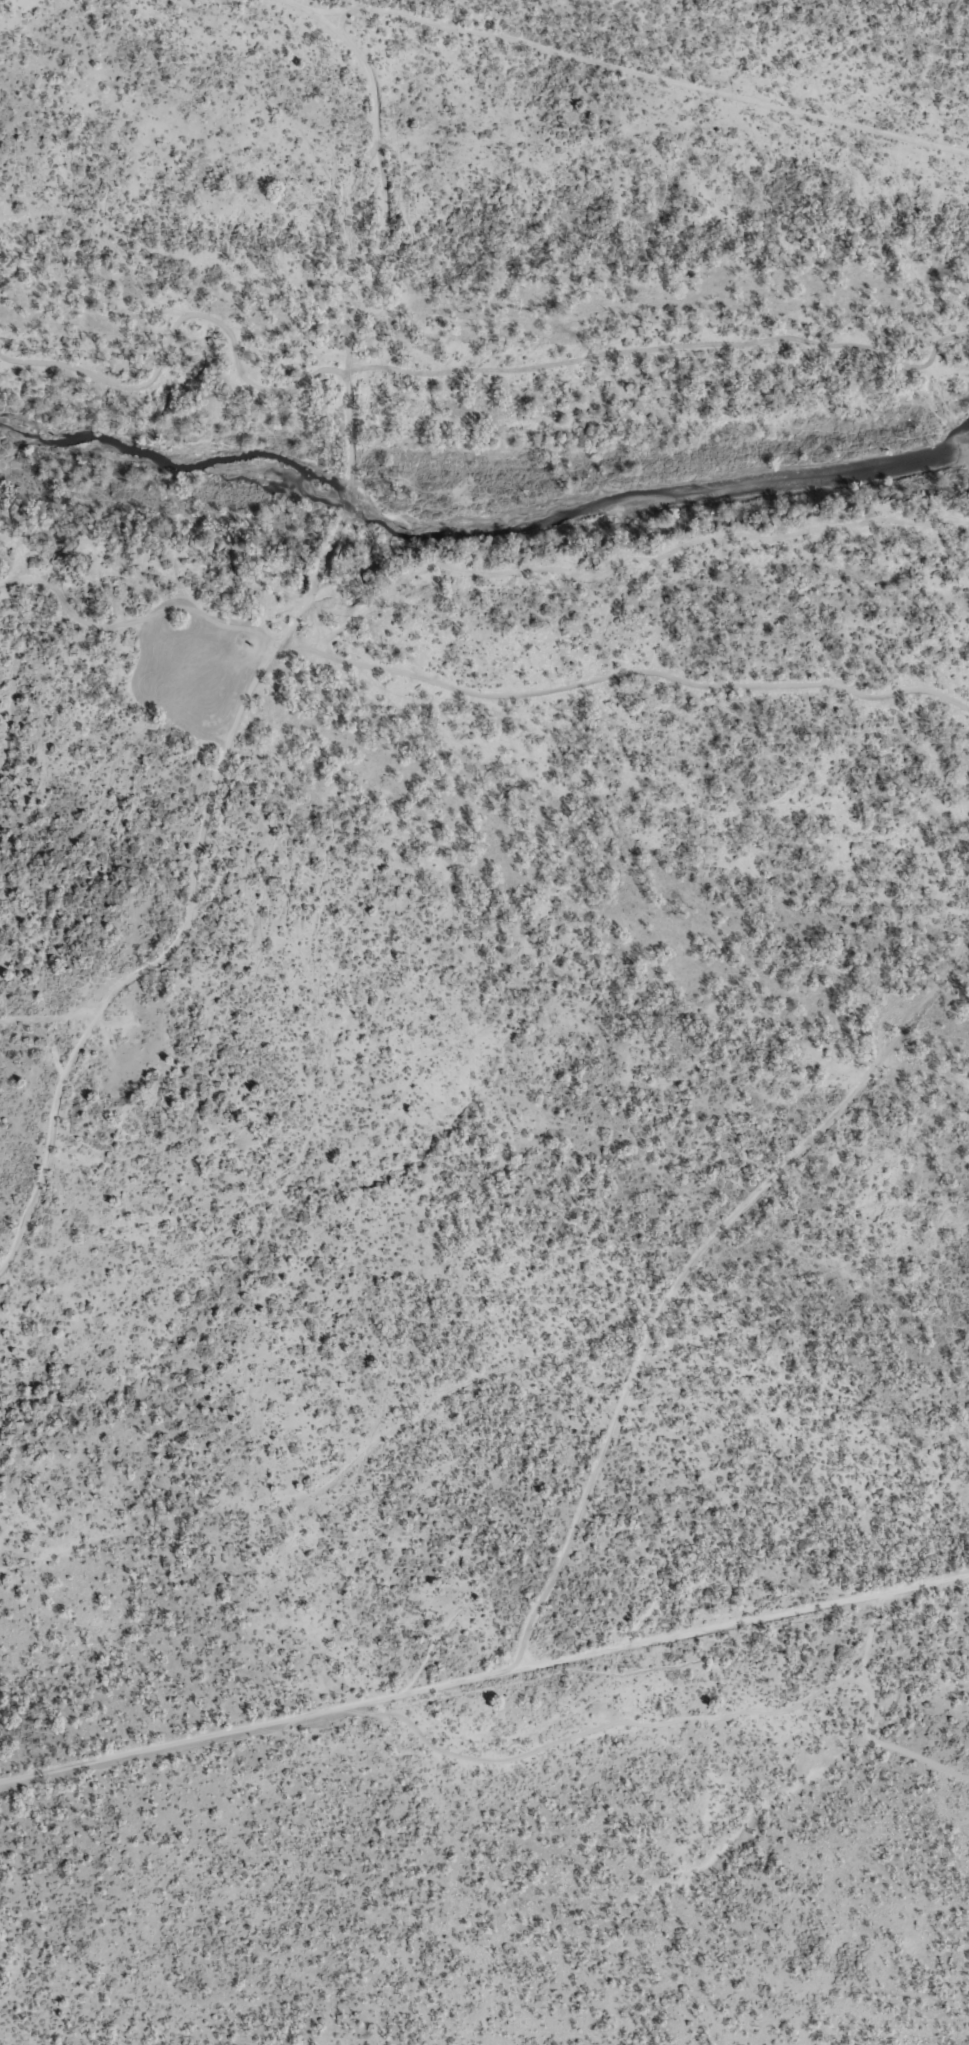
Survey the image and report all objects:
river: (486, 516)
road: (36, 1303)
road: (481, 1435)

